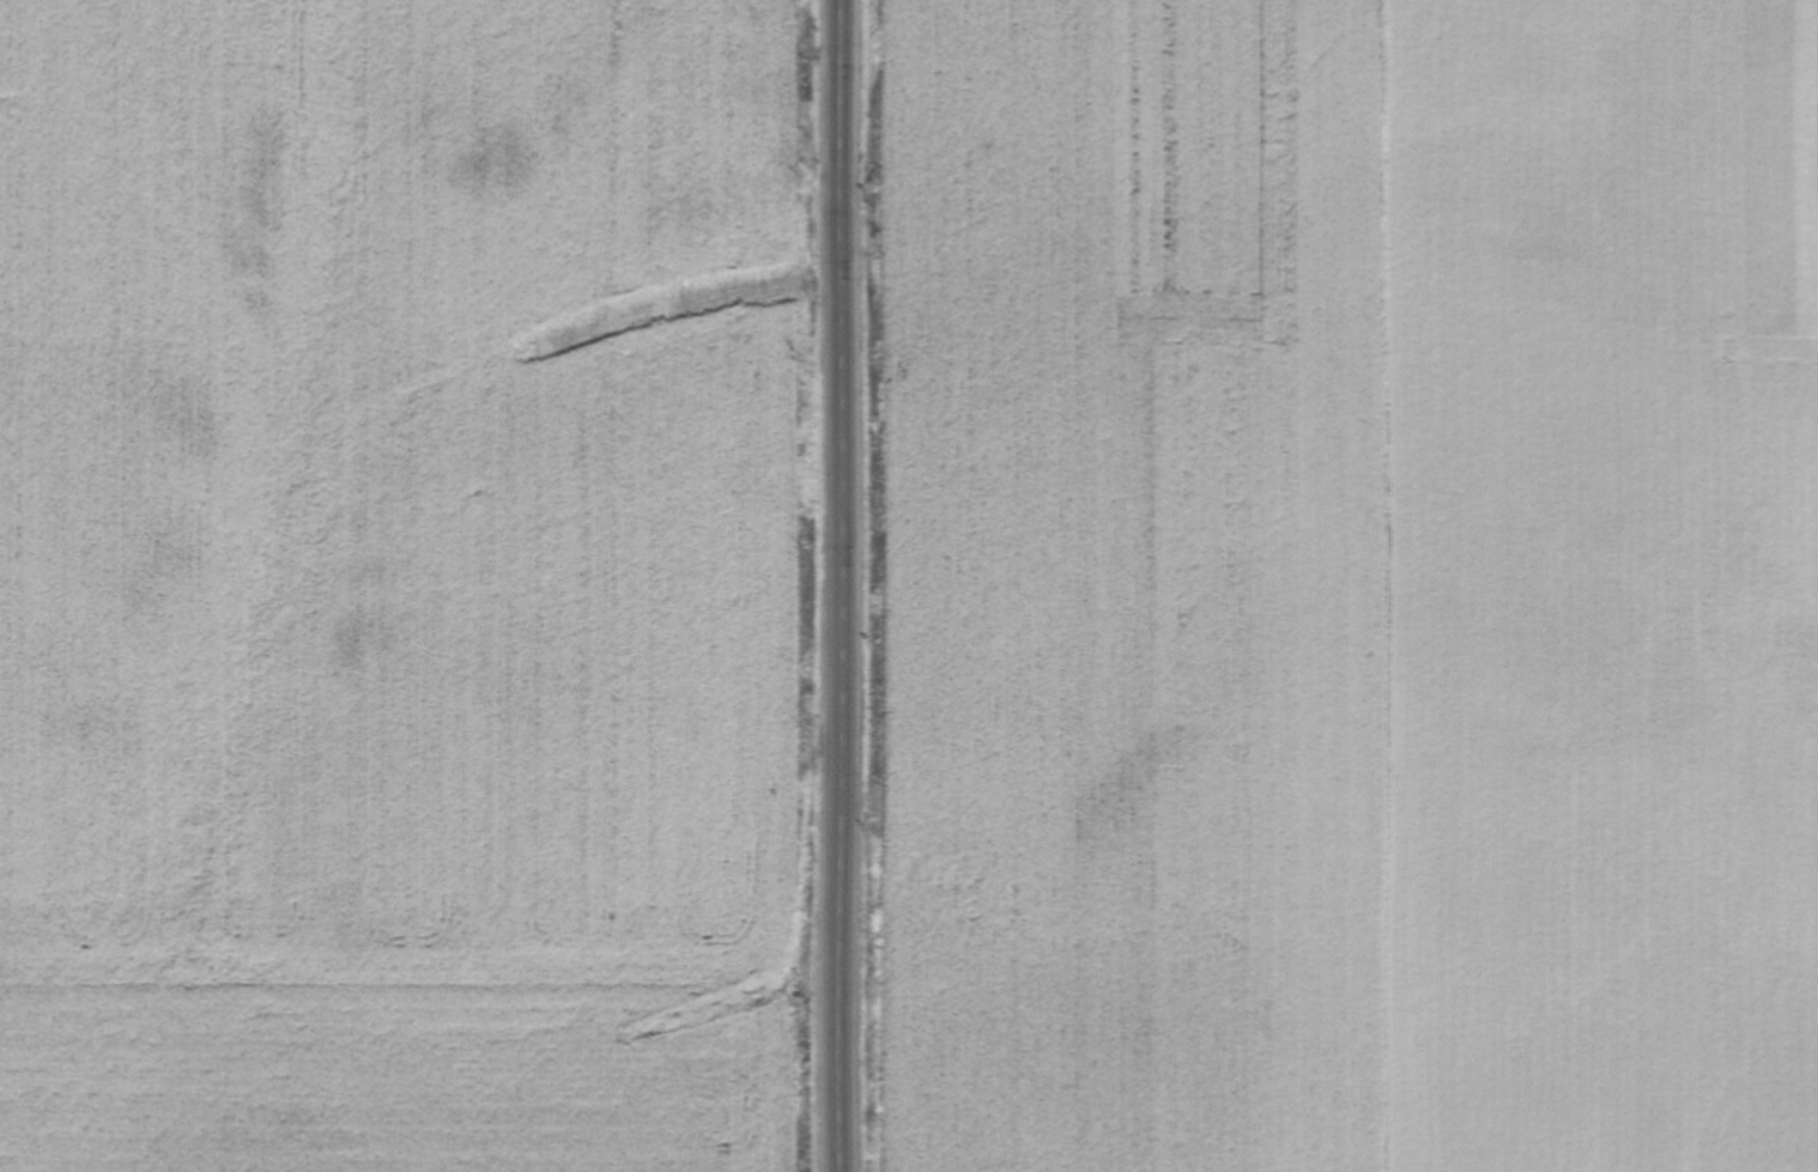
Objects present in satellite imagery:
road: (847, 585)

